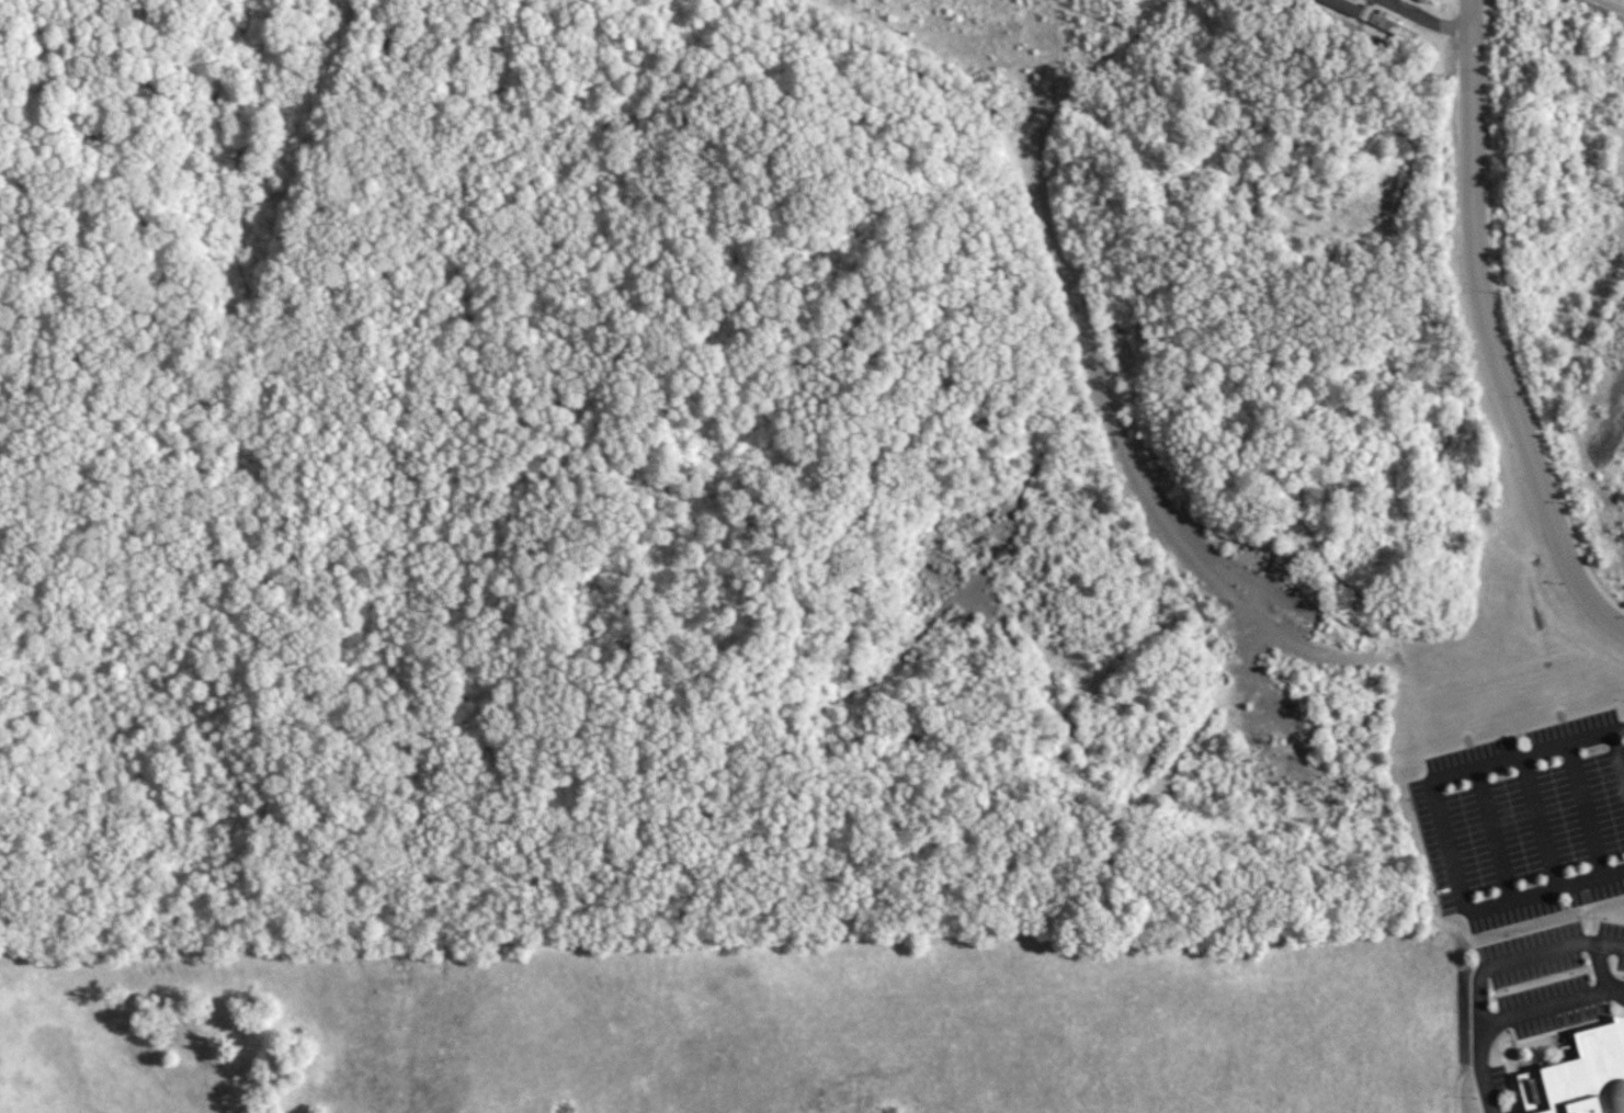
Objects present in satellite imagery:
building: (1422, 1)
road: (1620, 1)
building: (1348, 8)
road: (1433, 16)
building: (1390, 25)
road: (95, 130)
road: (637, 132)
park: (67, 138)
road: (1487, 330)
park: (434, 463)
road: (1160, 482)
road: (277, 555)
road: (965, 592)
park: (1100, 621)
road: (557, 726)
road: (1617, 729)
road: (1617, 754)
road: (946, 777)
road: (1585, 810)
road: (248, 819)
parking lot: (1525, 821)
road: (1540, 822)
road: (1446, 834)
road: (1494, 834)
road: (1525, 957)
road: (1600, 965)
parking lot: (1554, 975)
road: (1552, 1006)
road: (1480, 1069)
building: (1581, 1076)

